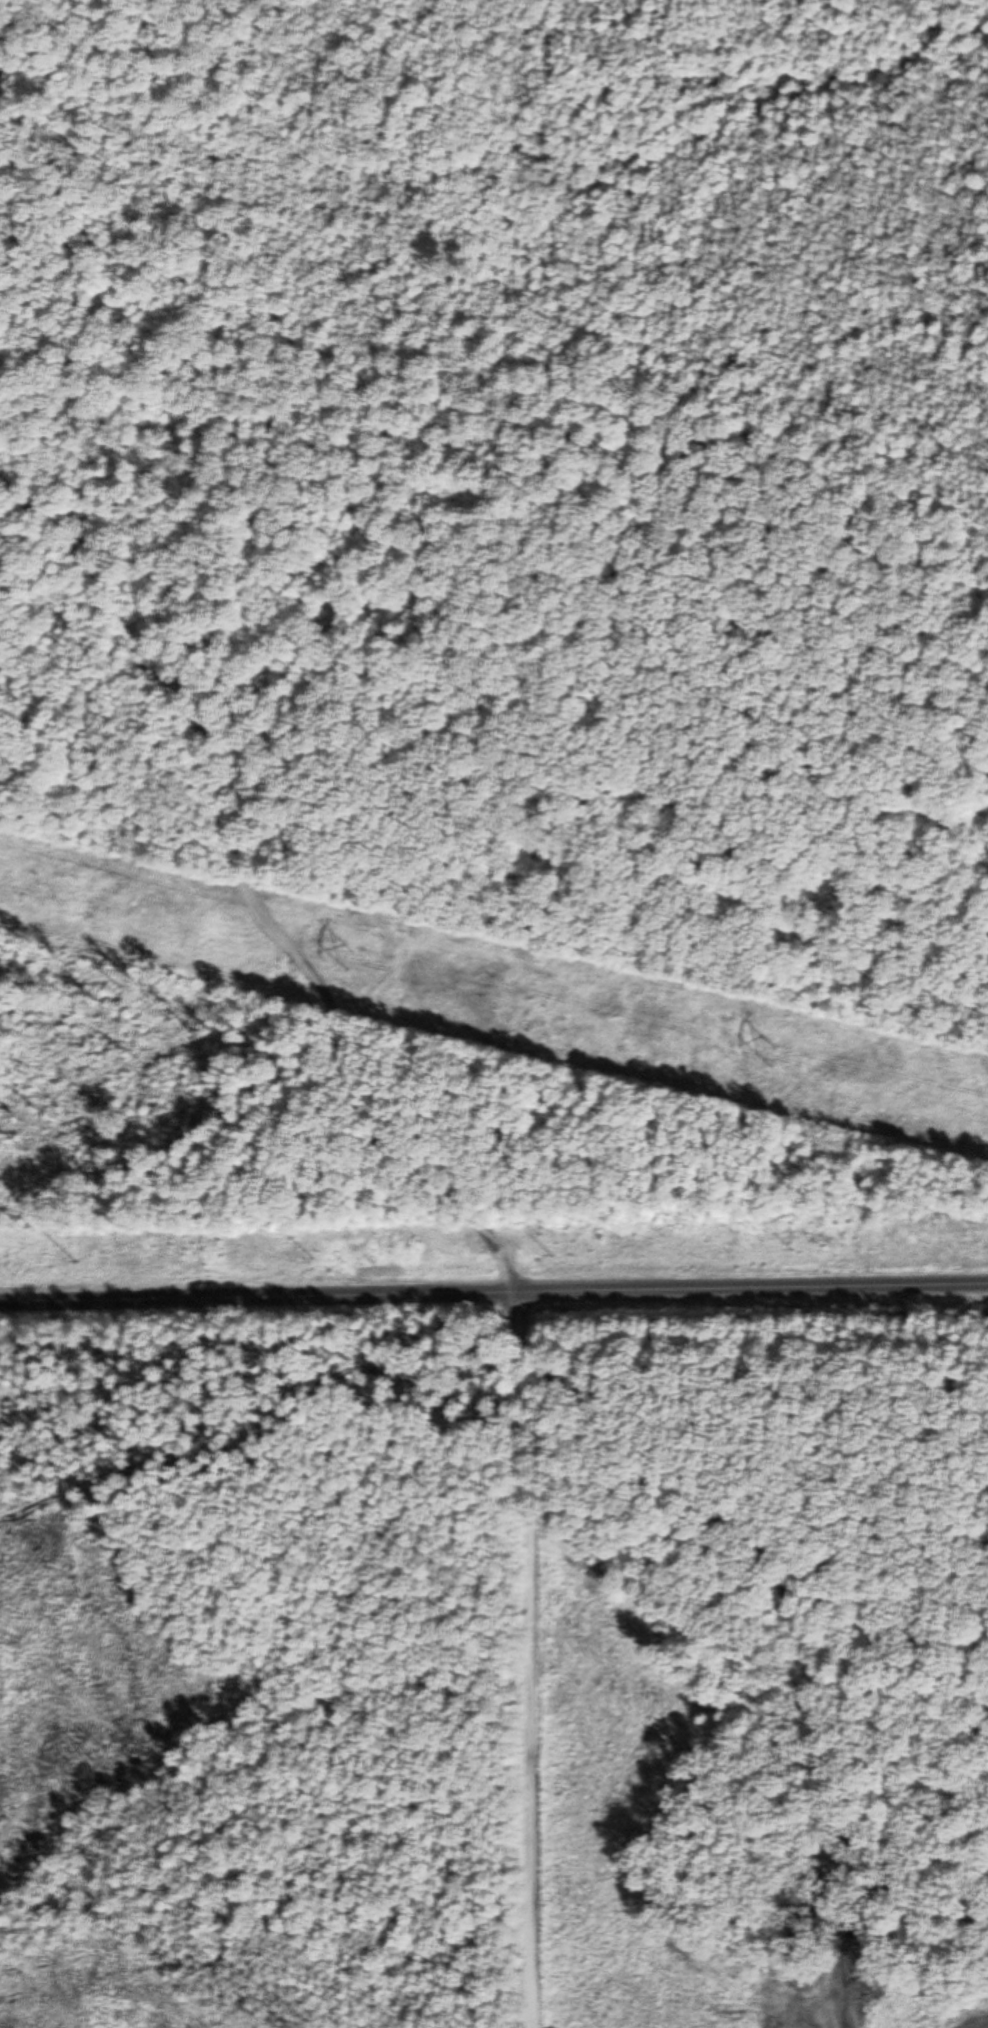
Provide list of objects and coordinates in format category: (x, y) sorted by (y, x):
power tower: (352, 962)
power tower: (780, 1059)
road: (494, 1296)

